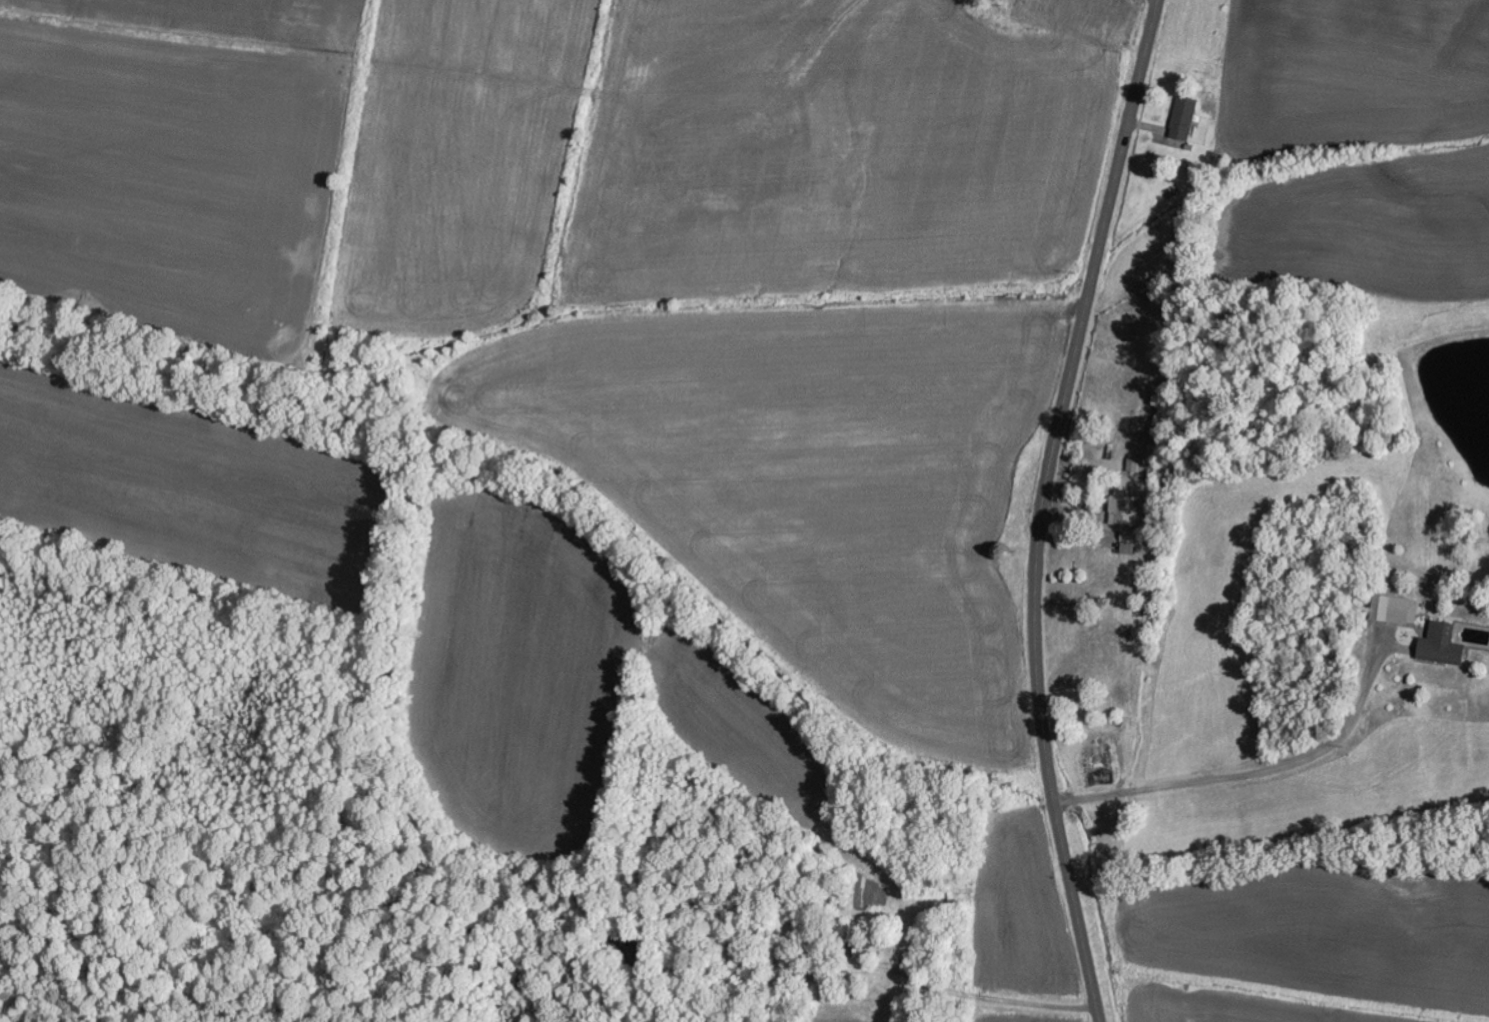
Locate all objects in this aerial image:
building: (1186, 119)
road: (1041, 507)
building: (1125, 509)
building: (1398, 611)
building: (1445, 646)
road: (808, 948)

